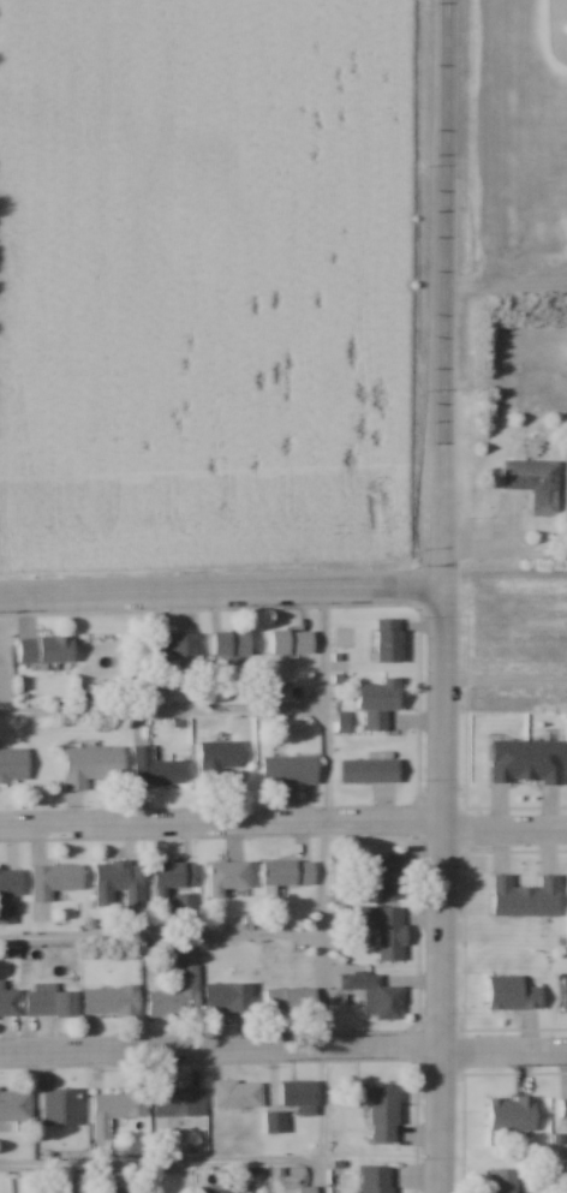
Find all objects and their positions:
road: (446, 222)
crop: (205, 276)
building: (538, 484)
road: (443, 518)
road: (221, 593)
building: (390, 642)
building: (294, 643)
building: (234, 645)
building: (172, 648)
building: (47, 650)
road: (505, 684)
building: (380, 703)
road: (162, 709)
building: (219, 760)
building: (14, 765)
building: (92, 766)
building: (159, 770)
building: (291, 770)
building: (371, 773)
road: (324, 818)
road: (221, 824)
road: (505, 825)
building: (290, 875)
building: (392, 876)
building: (175, 878)
building: (231, 879)
building: (55, 882)
building: (120, 884)
road: (441, 890)
building: (10, 894)
building: (187, 902)
building: (384, 931)
road: (160, 936)
building: (376, 995)
building: (179, 996)
building: (229, 998)
building: (112, 1001)
building: (291, 1001)
building: (50, 1002)
building: (10, 1003)
road: (220, 1048)
road: (503, 1049)
building: (300, 1092)
building: (239, 1093)
building: (180, 1100)
building: (13, 1105)
building: (62, 1106)
building: (120, 1106)
building: (384, 1111)
road: (322, 1115)
building: (275, 1122)
road: (171, 1162)
building: (380, 1179)
building: (506, 1180)
building: (221, 1188)

